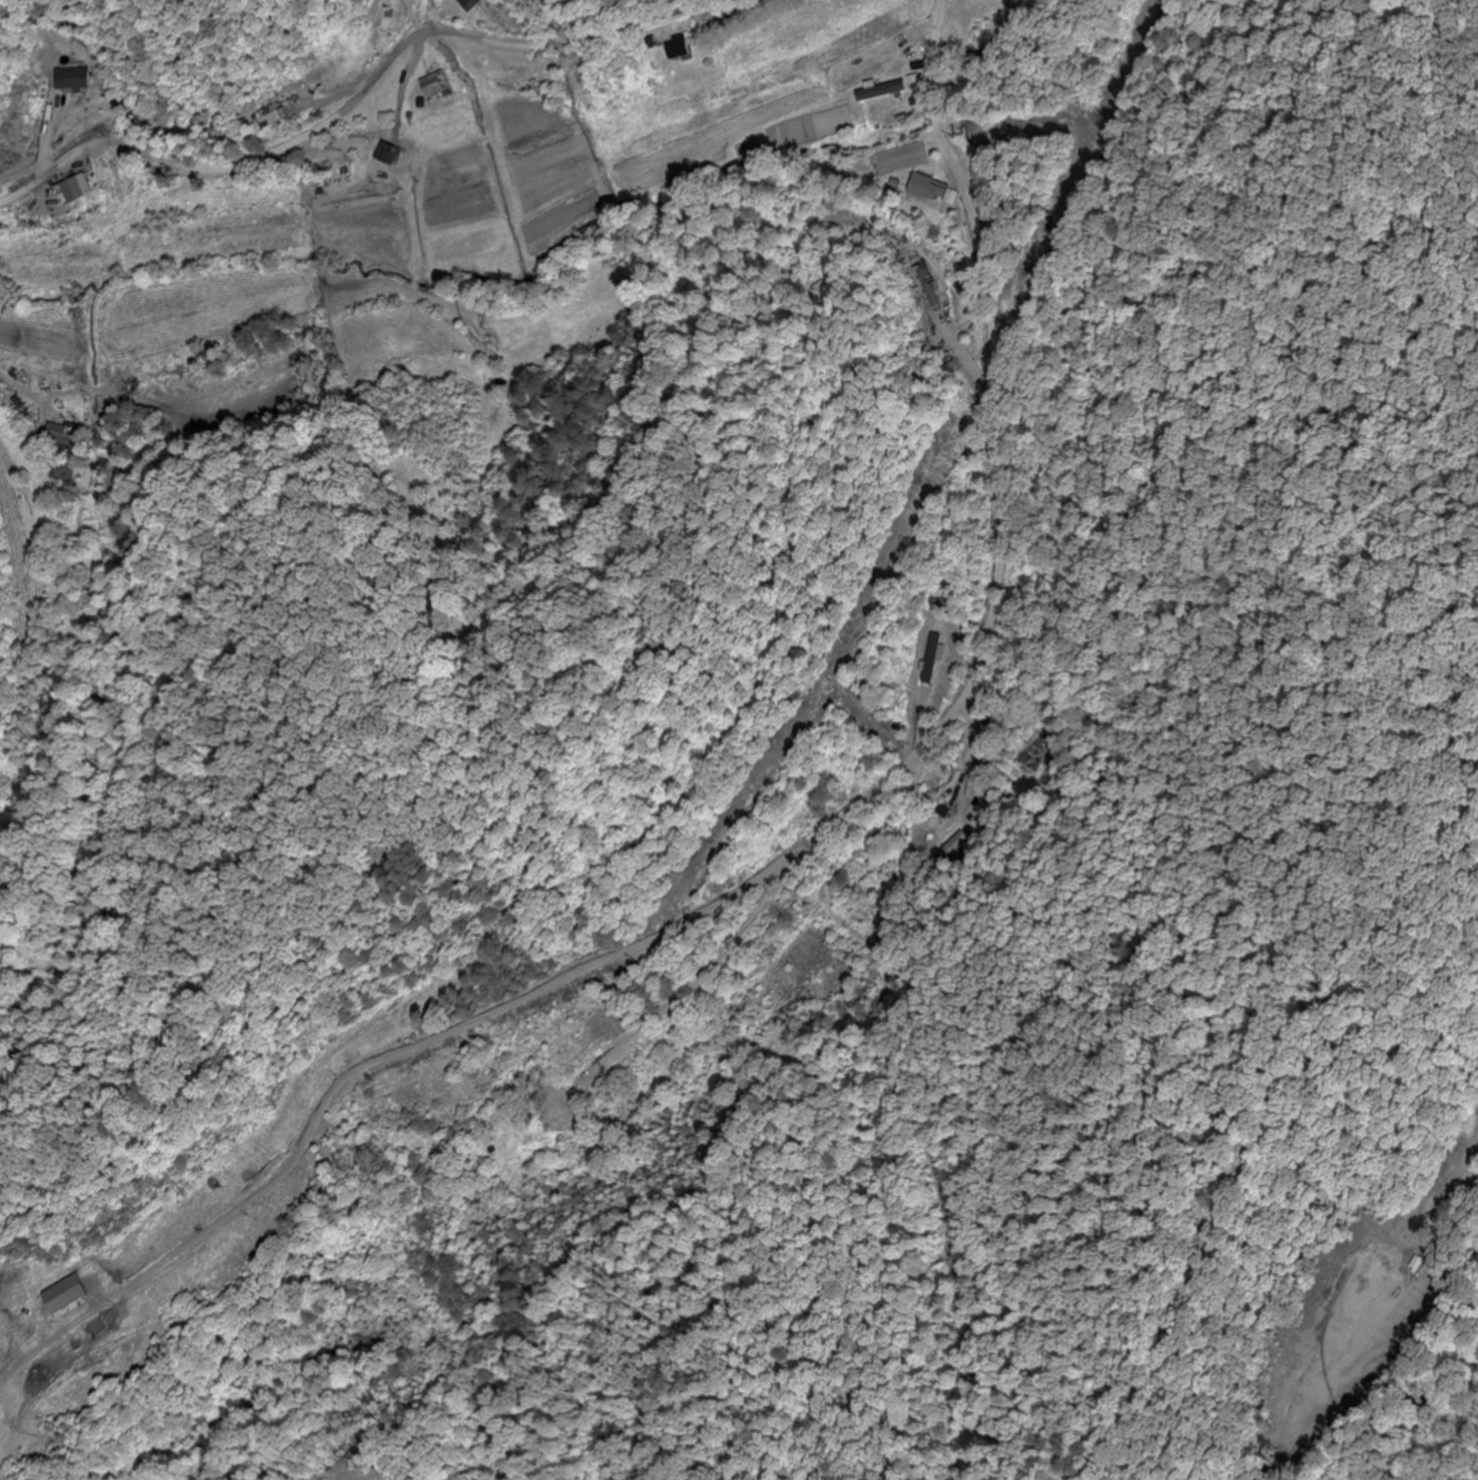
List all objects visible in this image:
building: (468, 5)
building: (677, 49)
building: (69, 80)
road: (186, 85)
building: (434, 87)
building: (882, 92)
road: (360, 95)
building: (385, 164)
building: (930, 288)
building: (238, 394)
building: (62, 436)
building: (64, 474)
road: (996, 590)
building: (1033, 753)
road: (727, 891)
building: (591, 1092)
building: (558, 1114)
road: (1456, 1206)
building: (1382, 1282)
building: (62, 1297)

